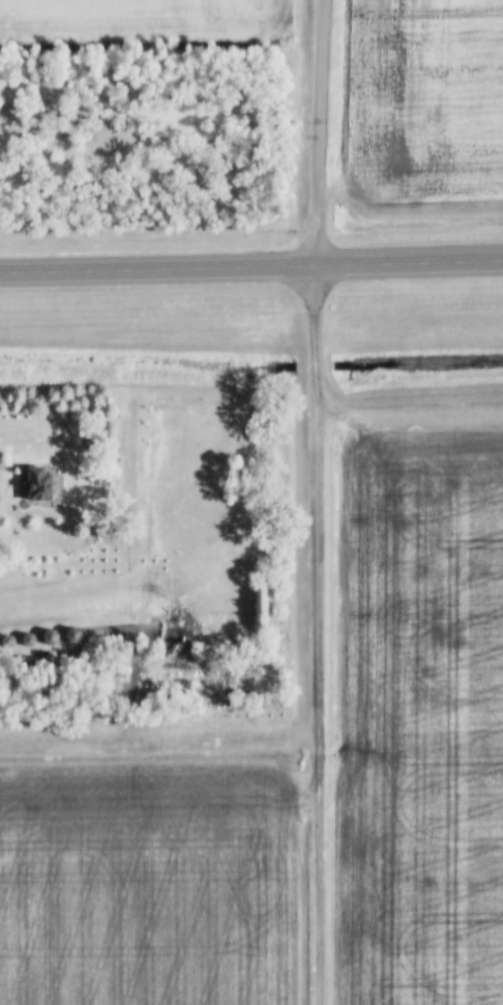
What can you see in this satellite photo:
crop: (140, 24)
crop: (425, 101)
road: (320, 133)
road: (251, 267)
building: (35, 482)
road: (316, 635)
crop: (423, 720)
crop: (148, 885)

